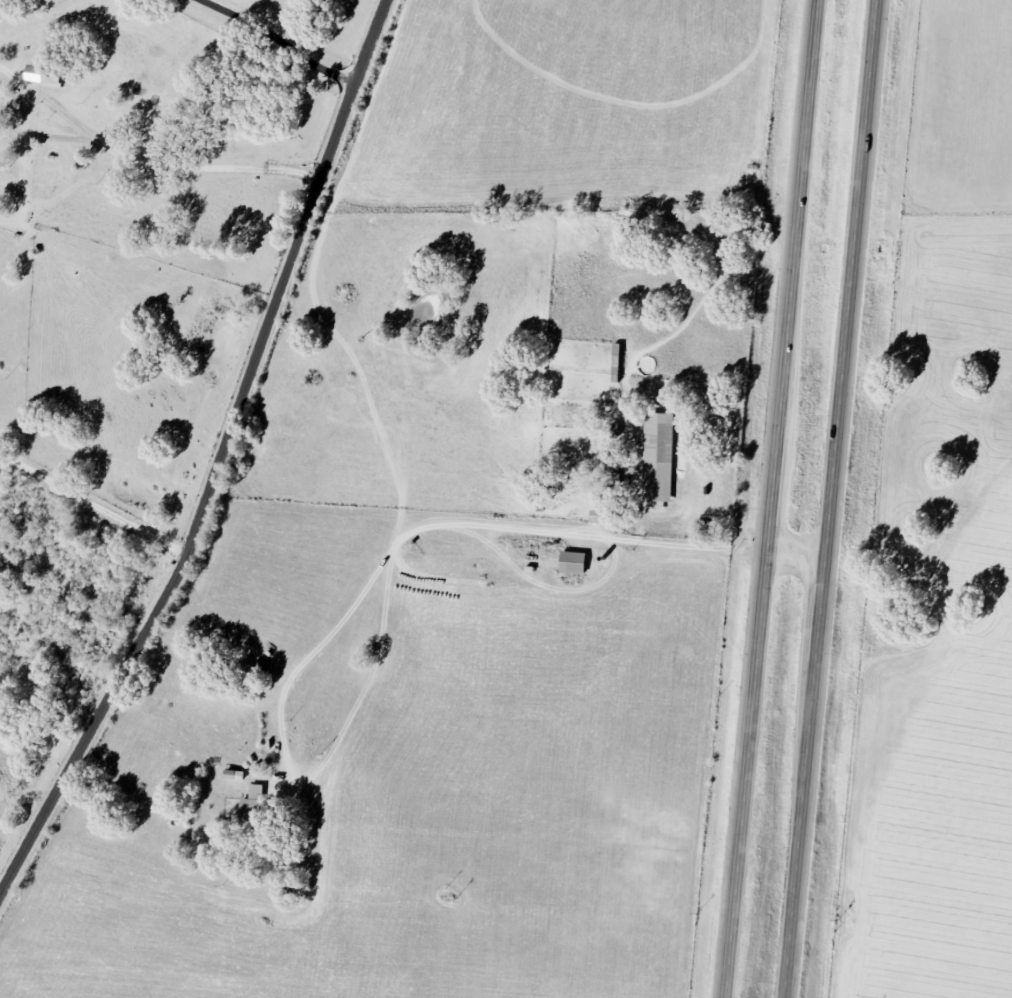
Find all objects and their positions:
road: (275, 42)
building: (50, 77)
road: (146, 165)
building: (658, 456)
road: (222, 461)
road: (774, 499)
road: (833, 499)
road: (93, 505)
road: (799, 554)
building: (572, 562)
road: (353, 614)
building: (233, 774)
building: (253, 804)

